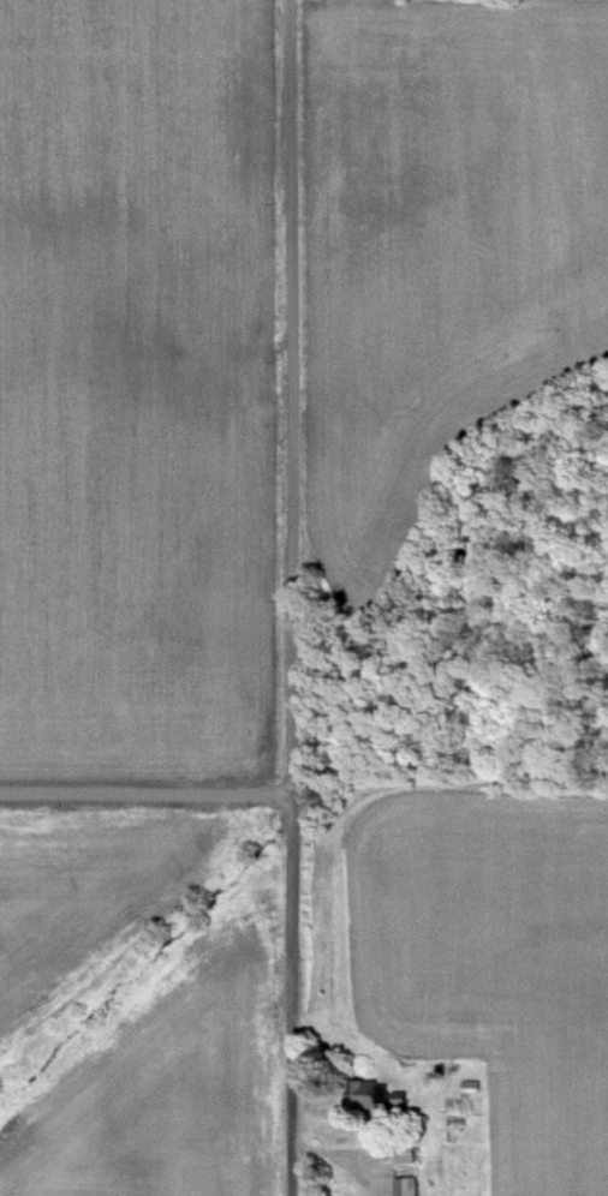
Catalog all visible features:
road: (294, 306)
road: (298, 704)
road: (99, 795)
road: (248, 795)
road: (296, 995)

